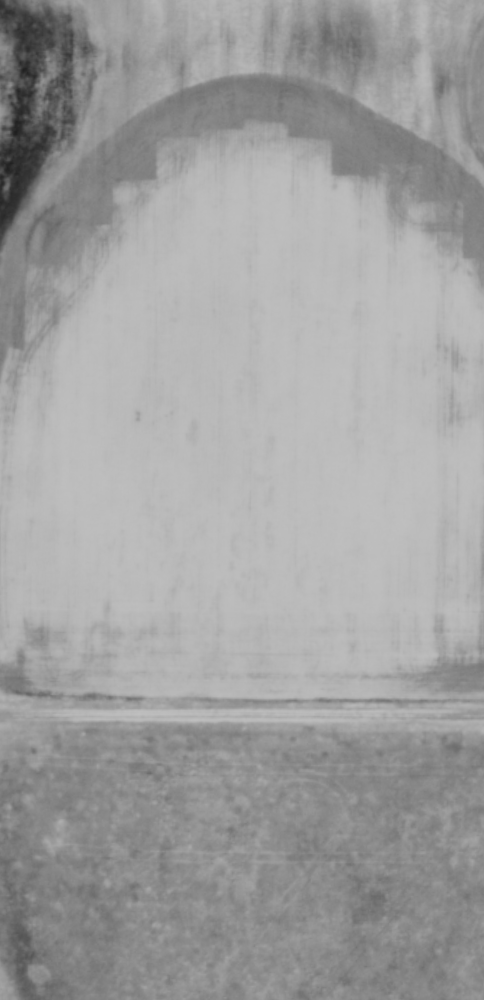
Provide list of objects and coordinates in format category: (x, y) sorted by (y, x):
road: (242, 715)

